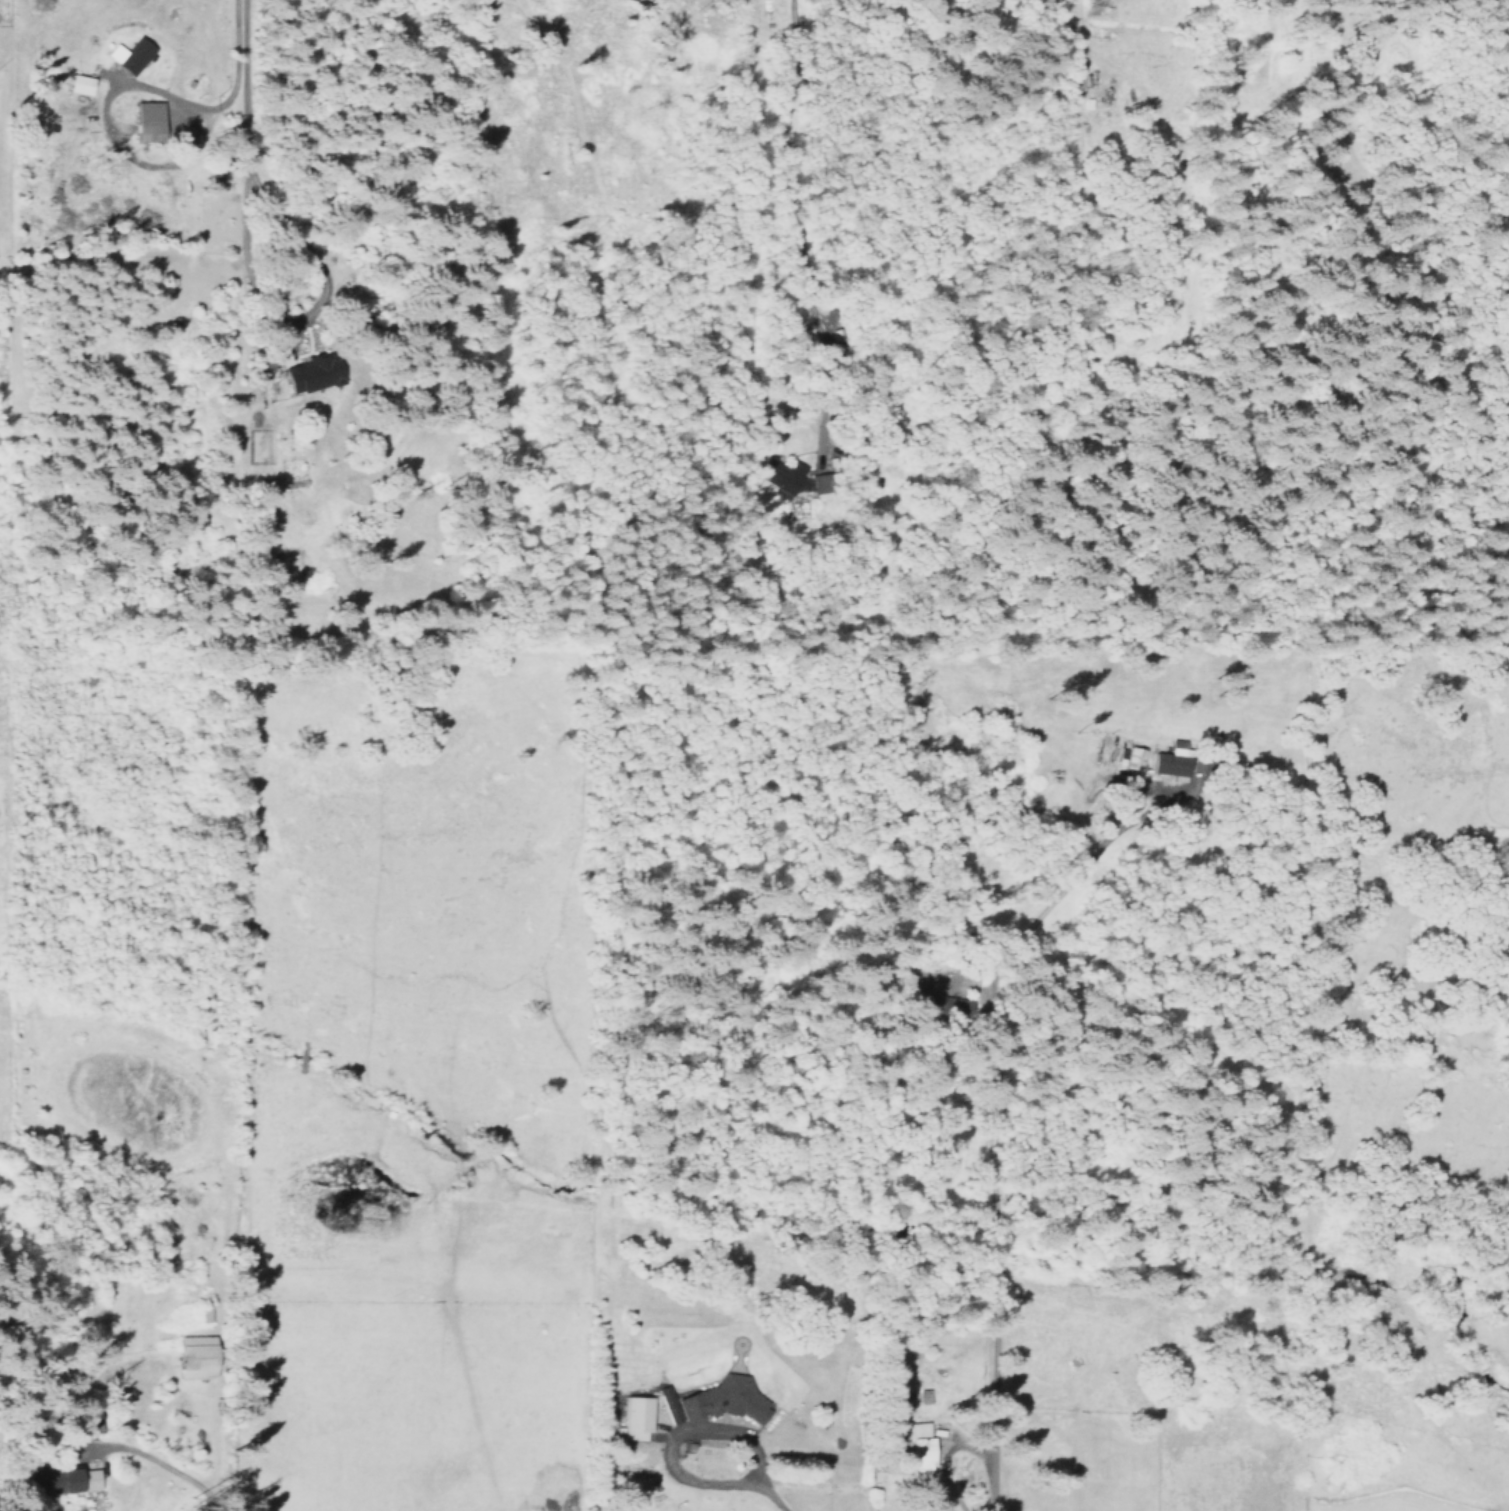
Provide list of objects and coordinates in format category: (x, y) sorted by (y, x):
road: (240, 44)
building: (133, 56)
building: (78, 84)
building: (146, 121)
building: (312, 373)
building: (781, 476)
building: (820, 483)
building: (1132, 757)
building: (1169, 762)
road: (988, 1140)
building: (192, 1356)
building: (716, 1400)
building: (636, 1417)
road: (672, 1436)
building: (919, 1447)
road: (196, 1461)
building: (77, 1479)
road: (771, 1496)

